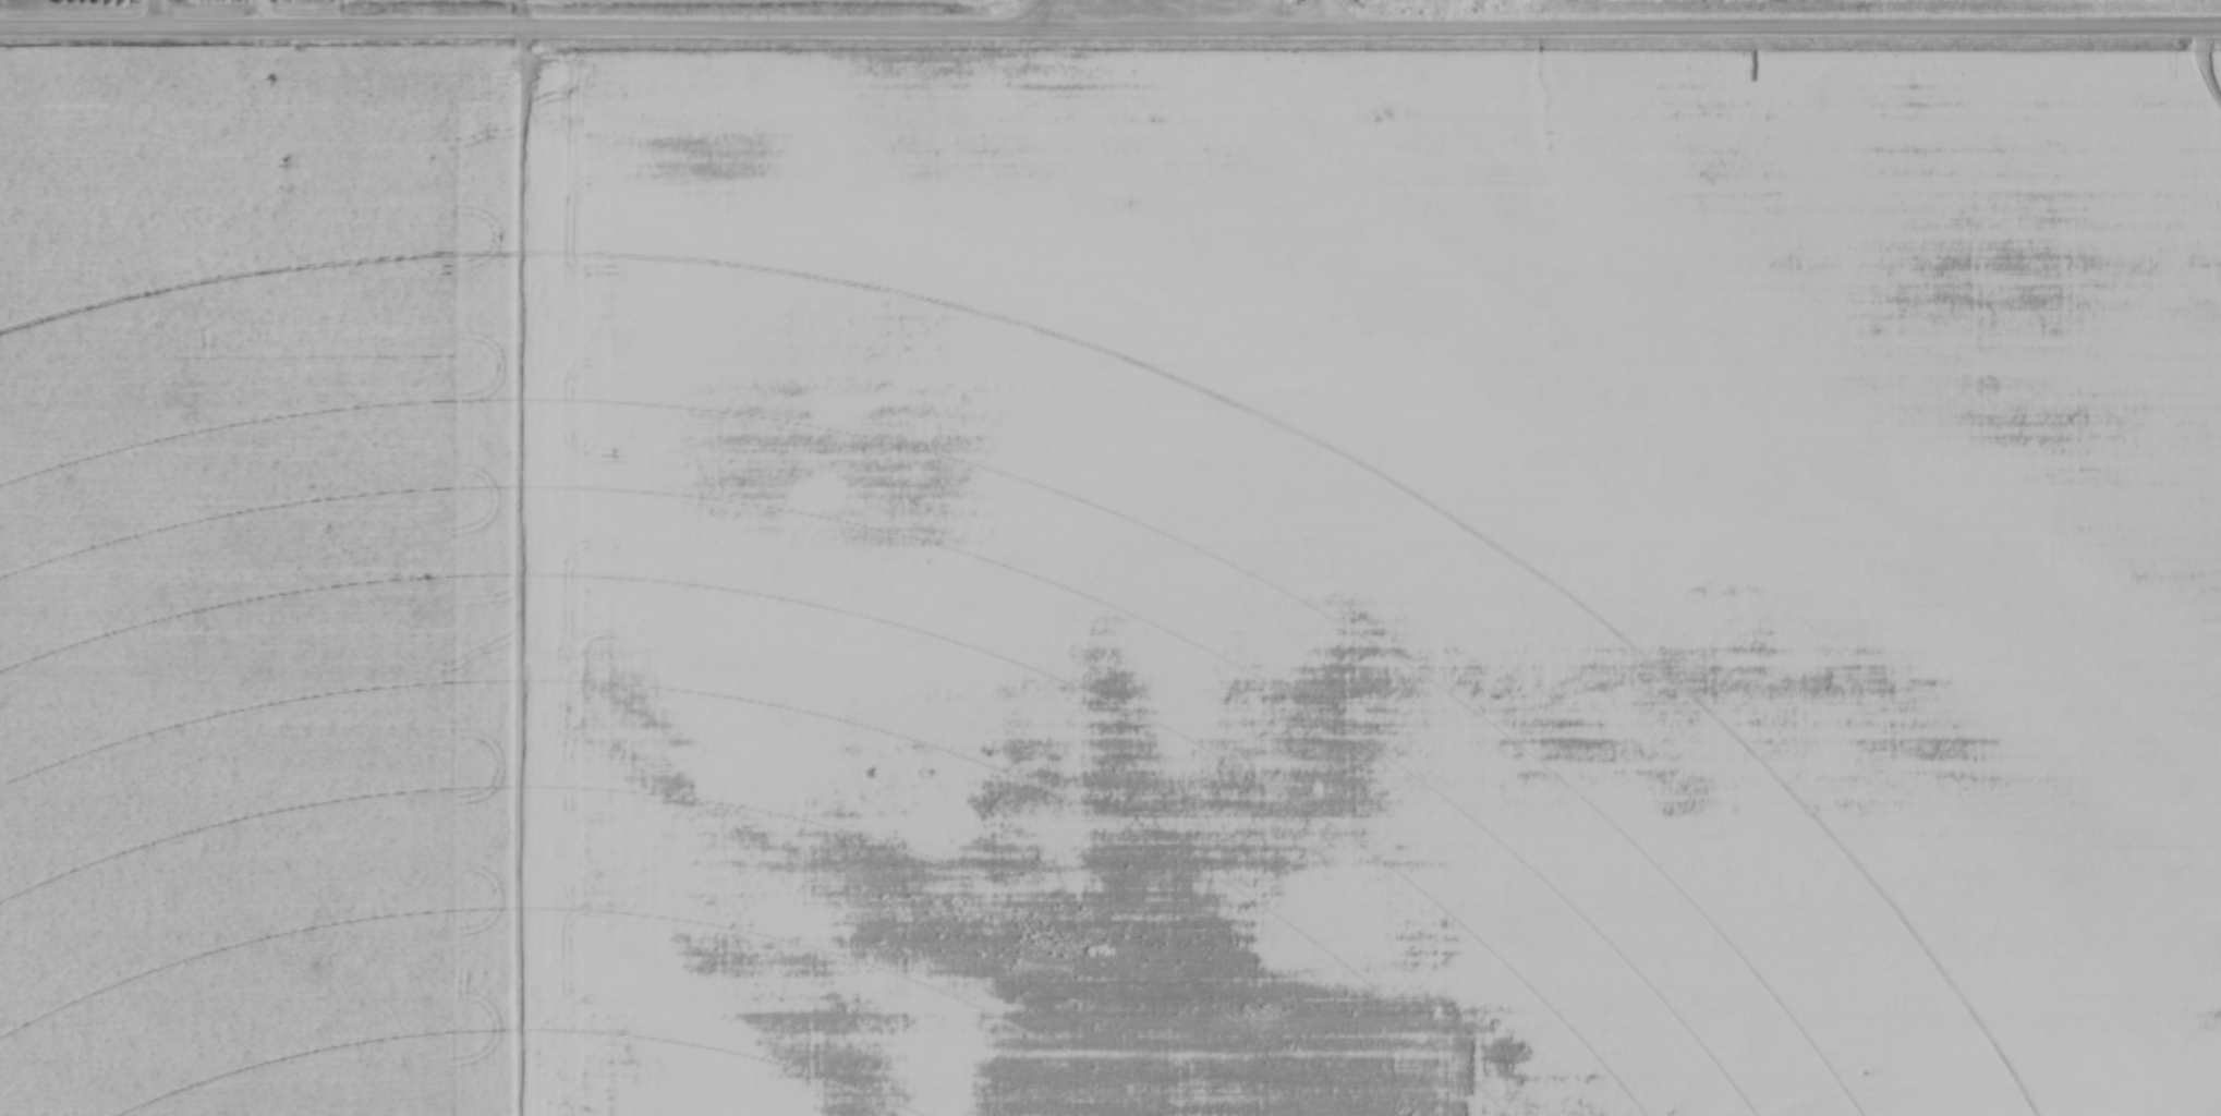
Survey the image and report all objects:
road: (403, 15)
road: (1109, 31)

